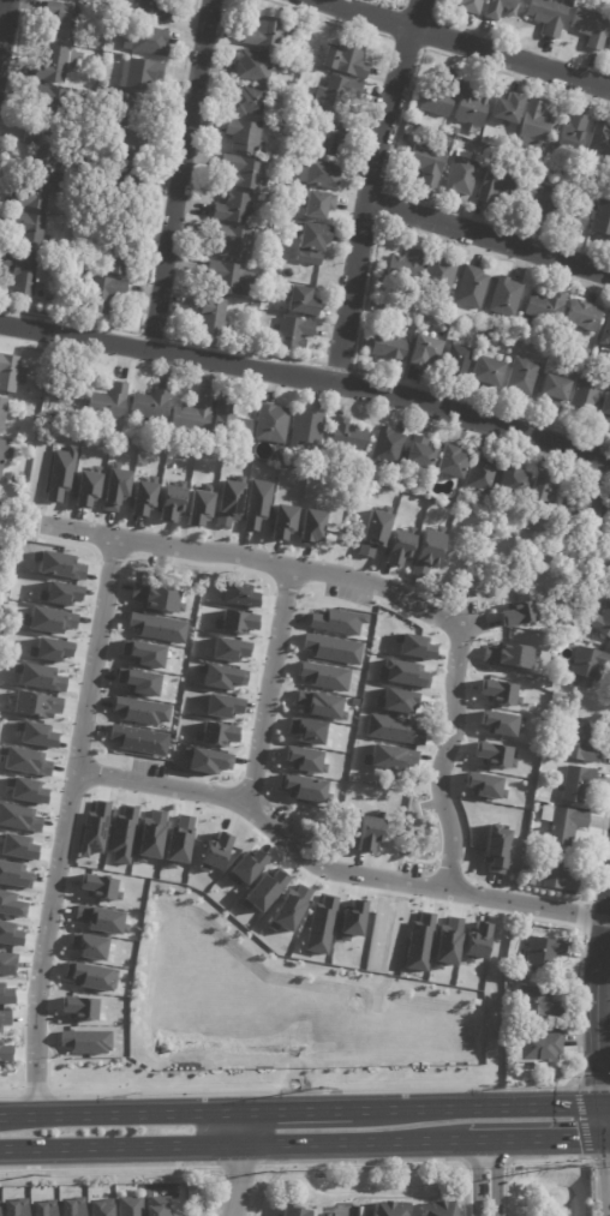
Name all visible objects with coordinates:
building: (467, 6)
building: (497, 10)
road: (1, 11)
building: (157, 11)
building: (544, 13)
building: (67, 18)
building: (306, 19)
building: (125, 20)
building: (588, 29)
building: (271, 32)
building: (150, 40)
road: (461, 46)
building: (608, 47)
building: (347, 59)
building: (97, 61)
building: (58, 62)
building: (257, 65)
building: (144, 73)
building: (333, 95)
building: (50, 98)
building: (250, 101)
building: (438, 101)
building: (473, 104)
building: (131, 107)
building: (509, 107)
building: (538, 125)
building: (455, 130)
building: (574, 131)
building: (246, 136)
building: (331, 138)
building: (602, 138)
building: (134, 145)
building: (44, 146)
building: (552, 160)
building: (429, 163)
building: (509, 163)
building: (519, 163)
building: (560, 164)
building: (246, 172)
building: (323, 173)
building: (464, 173)
road: (177, 174)
building: (496, 182)
building: (125, 184)
building: (40, 187)
road: (365, 190)
building: (537, 196)
building: (318, 204)
building: (234, 208)
building: (591, 221)
building: (35, 229)
road: (486, 239)
building: (237, 241)
building: (315, 242)
building: (119, 257)
building: (79, 263)
building: (406, 268)
building: (20, 272)
building: (277, 272)
building: (442, 275)
building: (229, 278)
building: (472, 288)
building: (379, 289)
building: (107, 293)
building: (507, 296)
building: (303, 301)
building: (381, 304)
building: (546, 306)
building: (213, 313)
building: (586, 313)
building: (426, 321)
building: (454, 331)
building: (295, 333)
building: (509, 333)
building: (606, 334)
building: (488, 339)
building: (390, 347)
building: (426, 351)
building: (587, 352)
building: (459, 358)
building: (490, 370)
building: (8, 372)
building: (524, 377)
road: (307, 378)
building: (41, 384)
building: (64, 389)
building: (556, 390)
building: (587, 395)
building: (106, 399)
building: (0, 402)
building: (145, 402)
building: (608, 407)
building: (187, 414)
building: (225, 420)
building: (267, 420)
building: (70, 423)
building: (310, 429)
building: (351, 438)
building: (389, 447)
building: (424, 454)
building: (6, 456)
building: (456, 462)
building: (59, 473)
building: (484, 477)
building: (12, 478)
building: (516, 480)
building: (548, 487)
building: (110, 489)
building: (85, 490)
building: (580, 498)
building: (2, 499)
building: (142, 499)
building: (171, 502)
building: (227, 503)
building: (256, 504)
building: (569, 505)
building: (196, 509)
building: (599, 513)
building: (279, 522)
building: (311, 526)
building: (372, 532)
road: (79, 535)
building: (397, 546)
building: (425, 553)
road: (288, 567)
parking lot: (351, 591)
building: (238, 594)
building: (516, 611)
building: (0, 616)
building: (50, 619)
building: (336, 621)
building: (235, 622)
building: (603, 624)
building: (154, 627)
building: (413, 647)
building: (227, 649)
building: (329, 651)
building: (143, 653)
building: (503, 654)
building: (590, 664)
building: (401, 673)
building: (323, 676)
building: (222, 677)
road: (269, 685)
building: (318, 702)
building: (221, 706)
building: (140, 711)
building: (497, 723)
building: (391, 727)
building: (300, 730)
building: (36, 733)
building: (562, 733)
building: (137, 739)
building: (584, 744)
road: (443, 756)
building: (388, 757)
building: (303, 759)
parking lot: (148, 771)
building: (578, 784)
building: (484, 785)
road: (264, 820)
road: (62, 825)
building: (564, 825)
parking lot: (291, 828)
building: (367, 834)
building: (121, 835)
building: (177, 835)
building: (543, 840)
building: (495, 845)
building: (560, 871)
building: (532, 879)
road: (527, 903)
building: (289, 906)
building: (351, 918)
building: (317, 924)
building: (519, 934)
building: (545, 952)
road: (593, 996)
building: (540, 1004)
building: (4, 1018)
building: (543, 1049)
building: (4, 1053)
building: (512, 1068)
power tower: (316, 1084)
road: (603, 1100)
traffic signals: (597, 1101)
road: (471, 1104)
road: (300, 1107)
road: (126, 1110)
road: (598, 1118)
road: (252, 1126)
road: (604, 1133)
traffic signals: (599, 1134)
road: (534, 1138)
road: (234, 1144)
power tower: (569, 1164)
power tower: (265, 1169)
power tower: (31, 1175)
road: (604, 1175)
road: (494, 1178)
road: (241, 1180)
park: (233, 1196)
road: (216, 1198)
building: (14, 1206)
building: (71, 1206)
building: (128, 1206)
building: (156, 1206)
building: (42, 1208)
building: (98, 1209)
building: (389, 1209)
building: (438, 1209)
building: (291, 1211)

